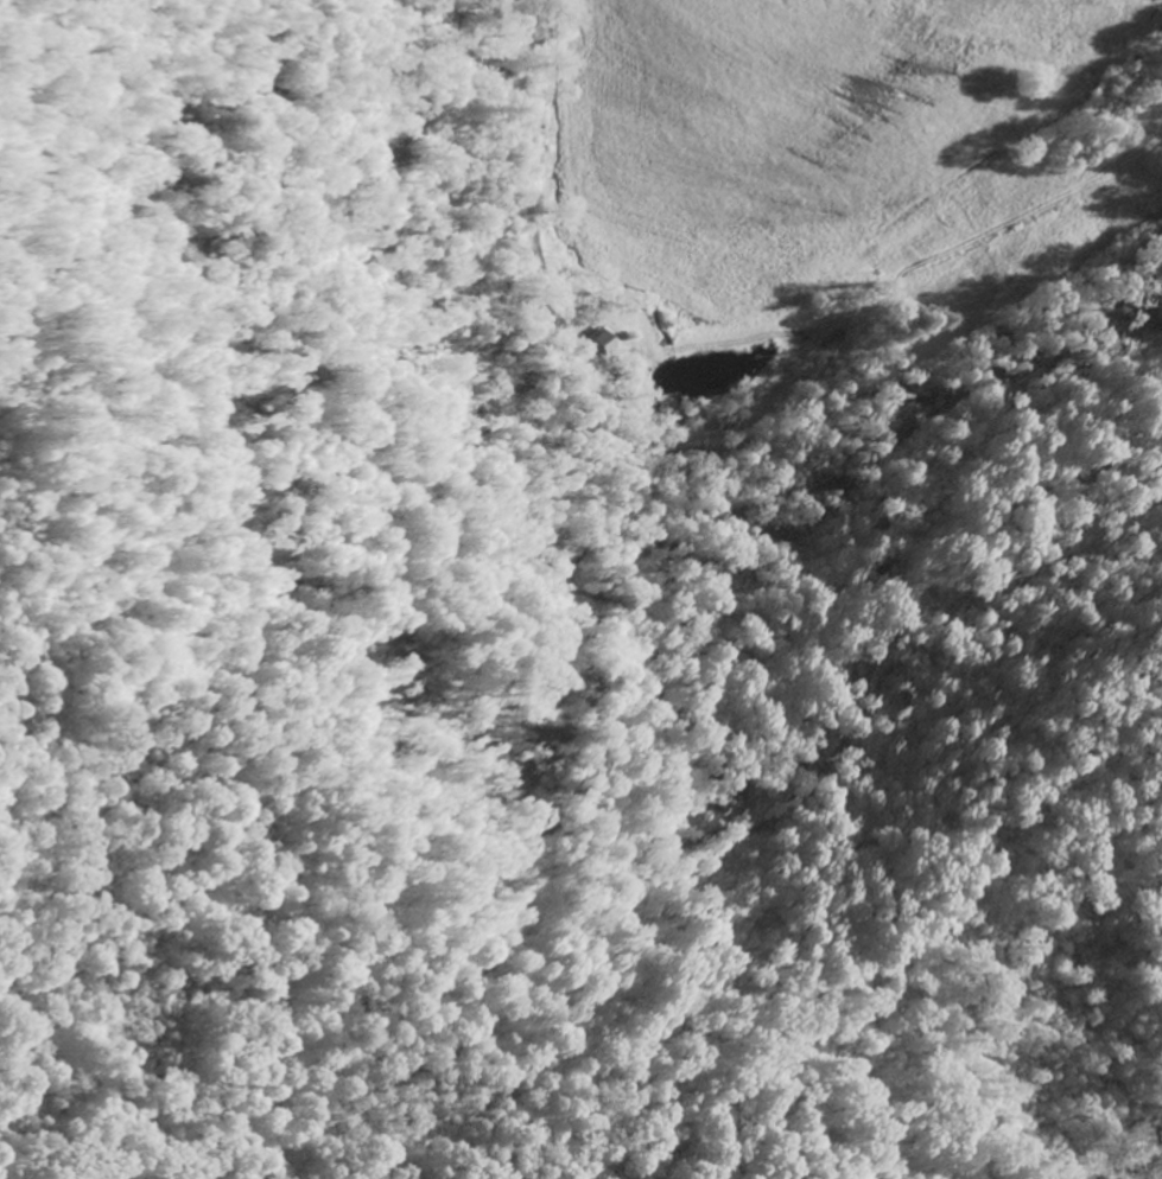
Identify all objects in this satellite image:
road: (525, 205)
building: (601, 340)
road: (1100, 1139)

